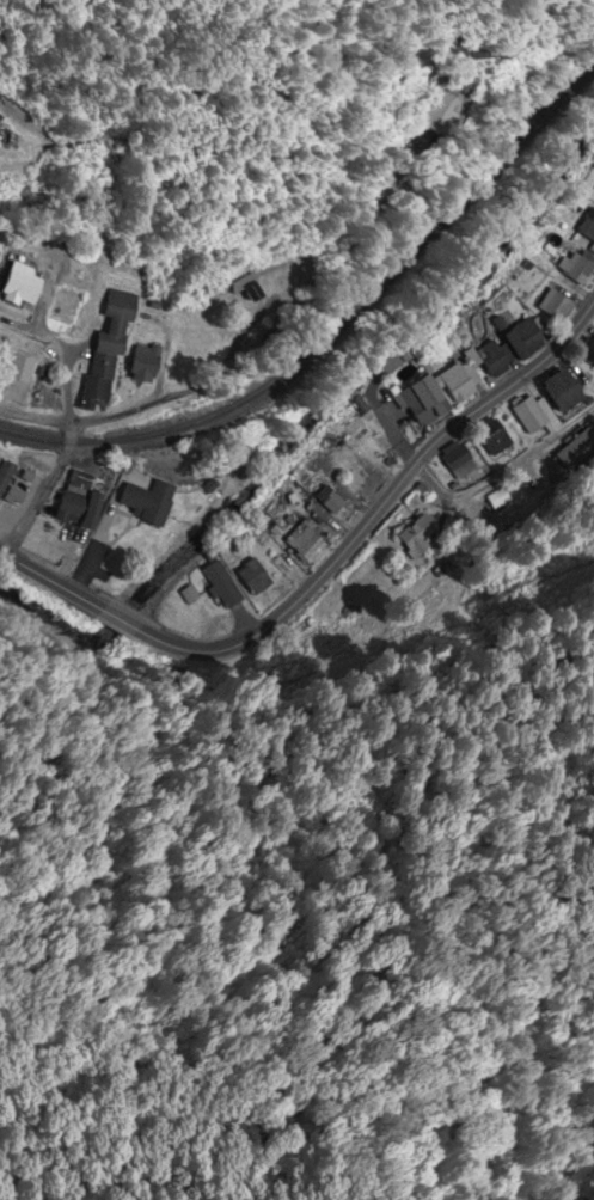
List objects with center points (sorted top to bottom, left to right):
building: (471, 84)
building: (440, 109)
building: (587, 225)
building: (575, 267)
building: (277, 277)
building: (23, 282)
building: (66, 304)
building: (556, 304)
building: (121, 305)
railway: (338, 330)
building: (526, 337)
building: (583, 347)
building: (490, 355)
building: (396, 360)
building: (146, 362)
building: (19, 369)
road: (225, 376)
building: (99, 378)
road: (572, 378)
building: (458, 379)
building: (561, 391)
building: (416, 400)
building: (531, 412)
building: (356, 427)
road: (68, 431)
building: (489, 435)
building: (558, 451)
road: (525, 457)
building: (455, 459)
building: (6, 472)
road: (431, 483)
building: (164, 486)
building: (333, 491)
road: (33, 498)
building: (80, 502)
building: (148, 502)
road: (378, 507)
building: (414, 535)
building: (306, 543)
building: (56, 546)
building: (253, 576)
road: (45, 584)
building: (223, 587)
building: (169, 605)
road: (116, 622)

